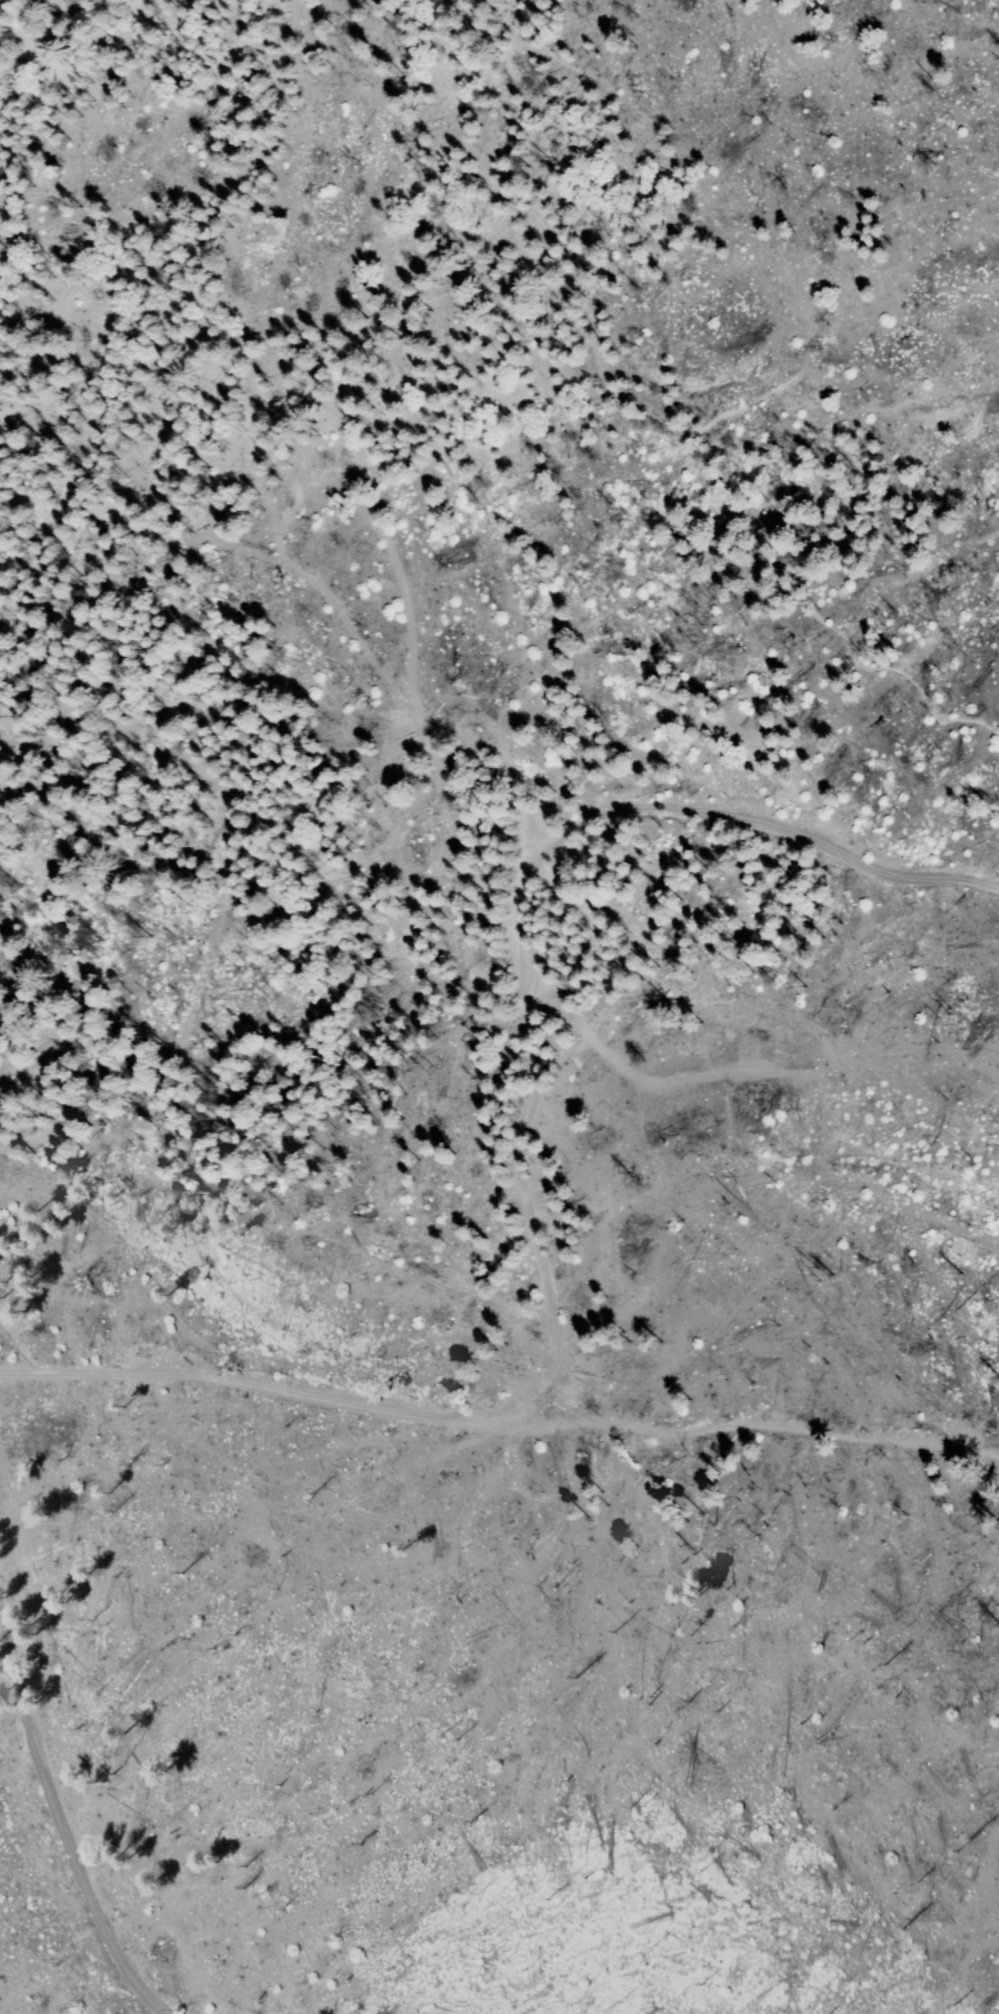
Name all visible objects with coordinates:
road: (773, 391)
road: (331, 417)
road: (143, 1009)
road: (526, 1158)
road: (203, 1708)
road: (69, 1828)

